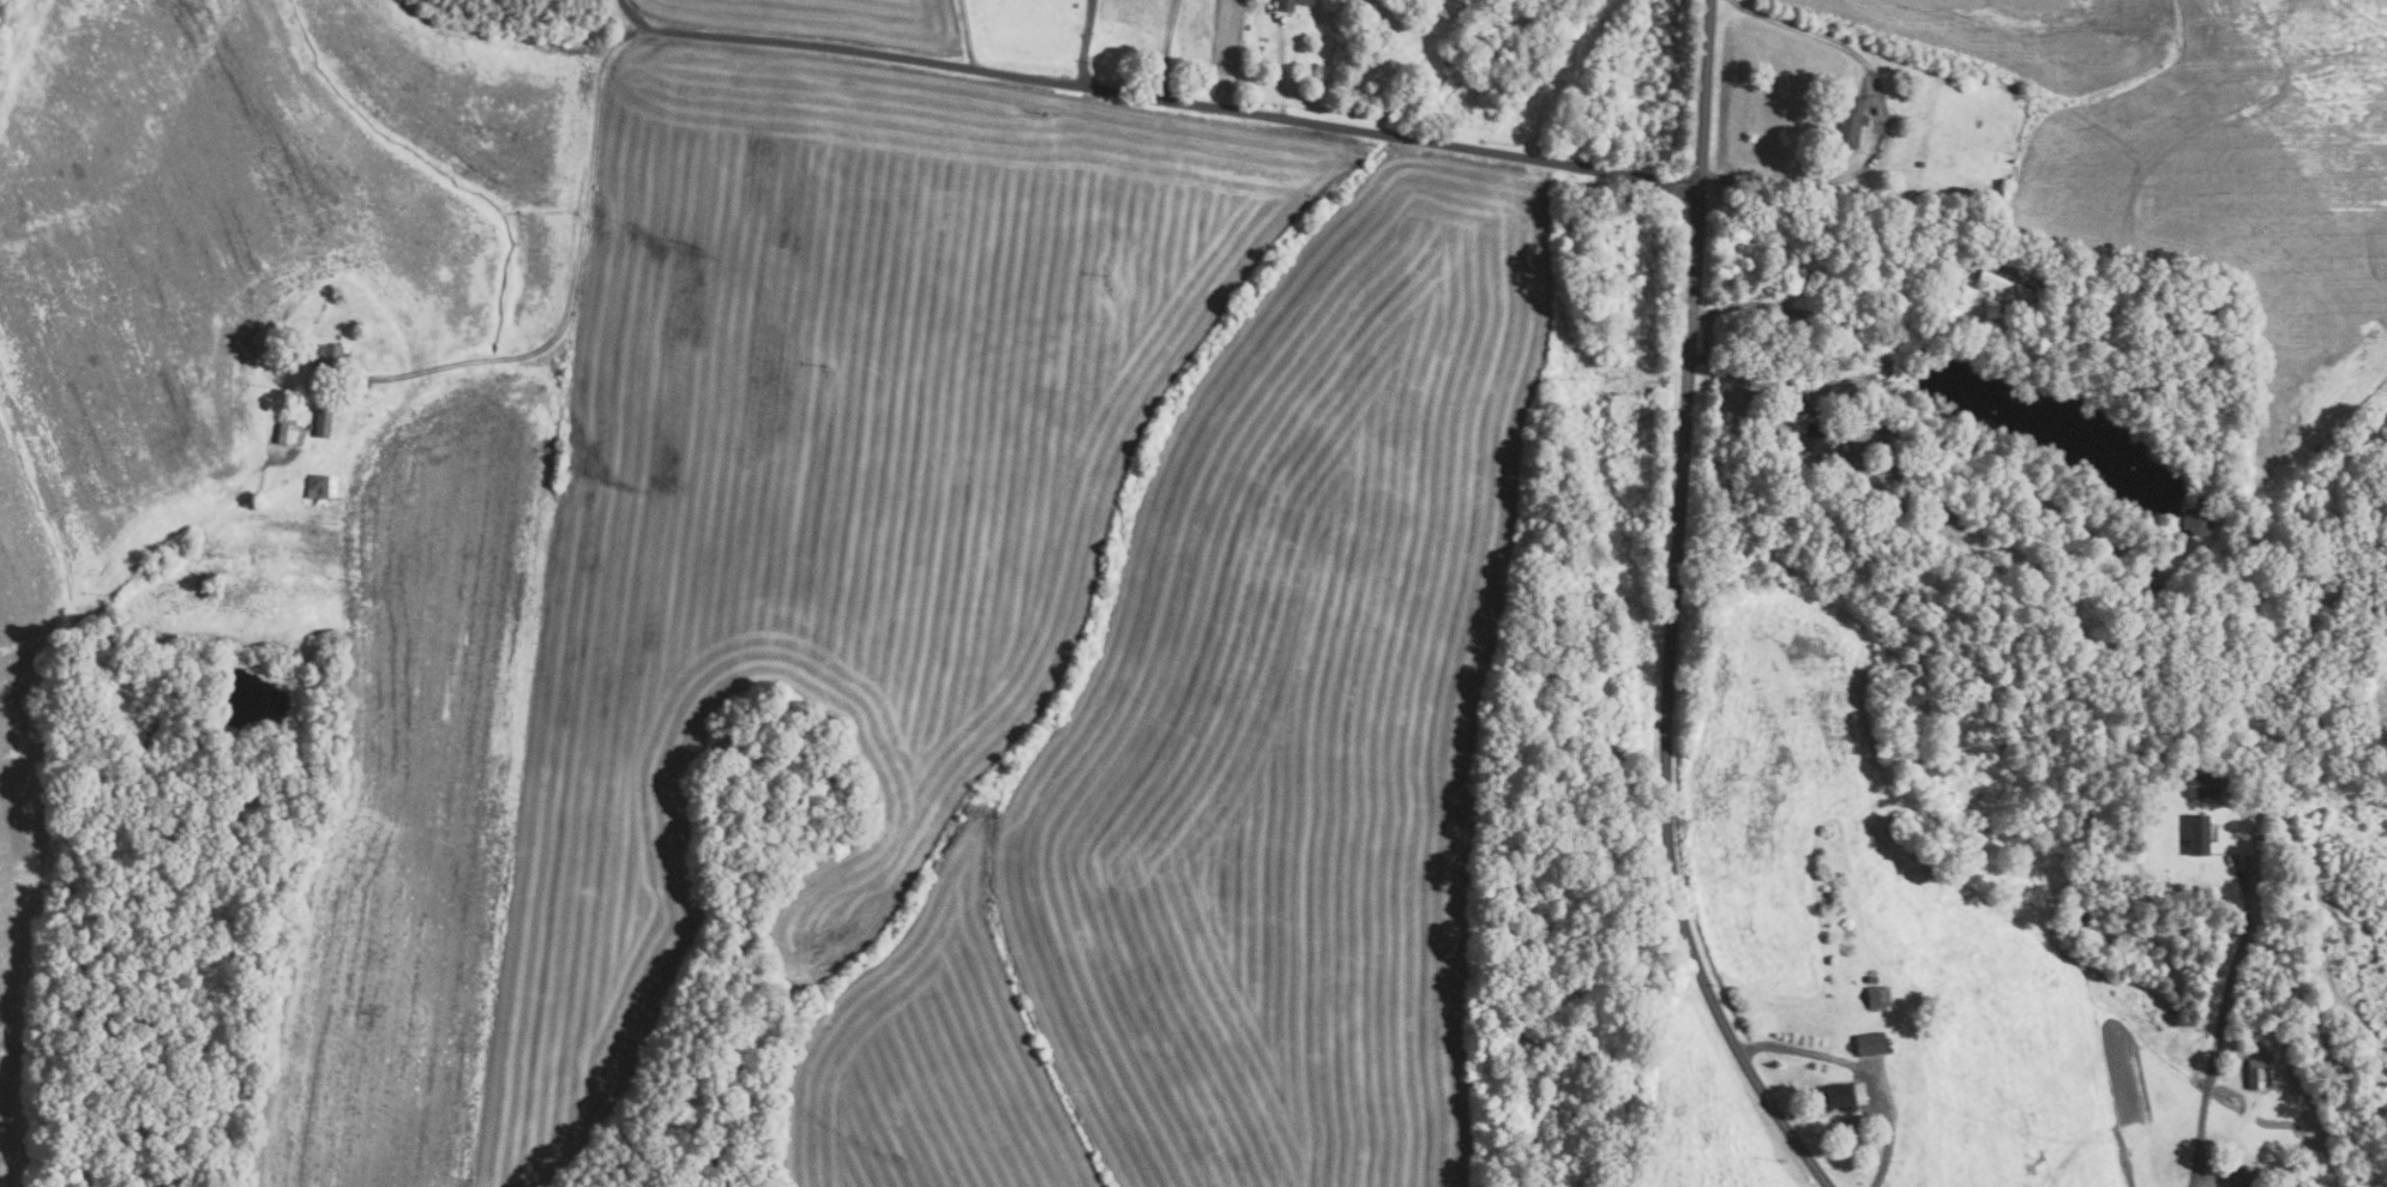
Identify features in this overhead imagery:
building: (1288, 4)
road: (1722, 8)
road: (636, 16)
crop: (830, 19)
road: (969, 32)
road: (1086, 41)
crop: (1225, 47)
road: (1165, 48)
road: (1282, 66)
road: (1178, 100)
building: (1850, 121)
road: (1880, 121)
crop: (2209, 170)
road: (576, 251)
building: (2004, 283)
crop: (224, 296)
building: (325, 355)
road: (1757, 388)
building: (1890, 390)
building: (321, 422)
building: (287, 432)
building: (1816, 438)
building: (323, 486)
building: (1851, 498)
building: (2190, 522)
crop: (710, 562)
road: (1671, 613)
crop: (2376, 691)
crop: (1243, 769)
building: (2203, 784)
building: (2197, 834)
crop: (1884, 903)
building: (1871, 980)
building: (1883, 995)
building: (1872, 998)
road: (2221, 1024)
building: (1870, 1044)
road: (1859, 1069)
building: (2255, 1074)
building: (1838, 1097)
crop: (1709, 1113)

